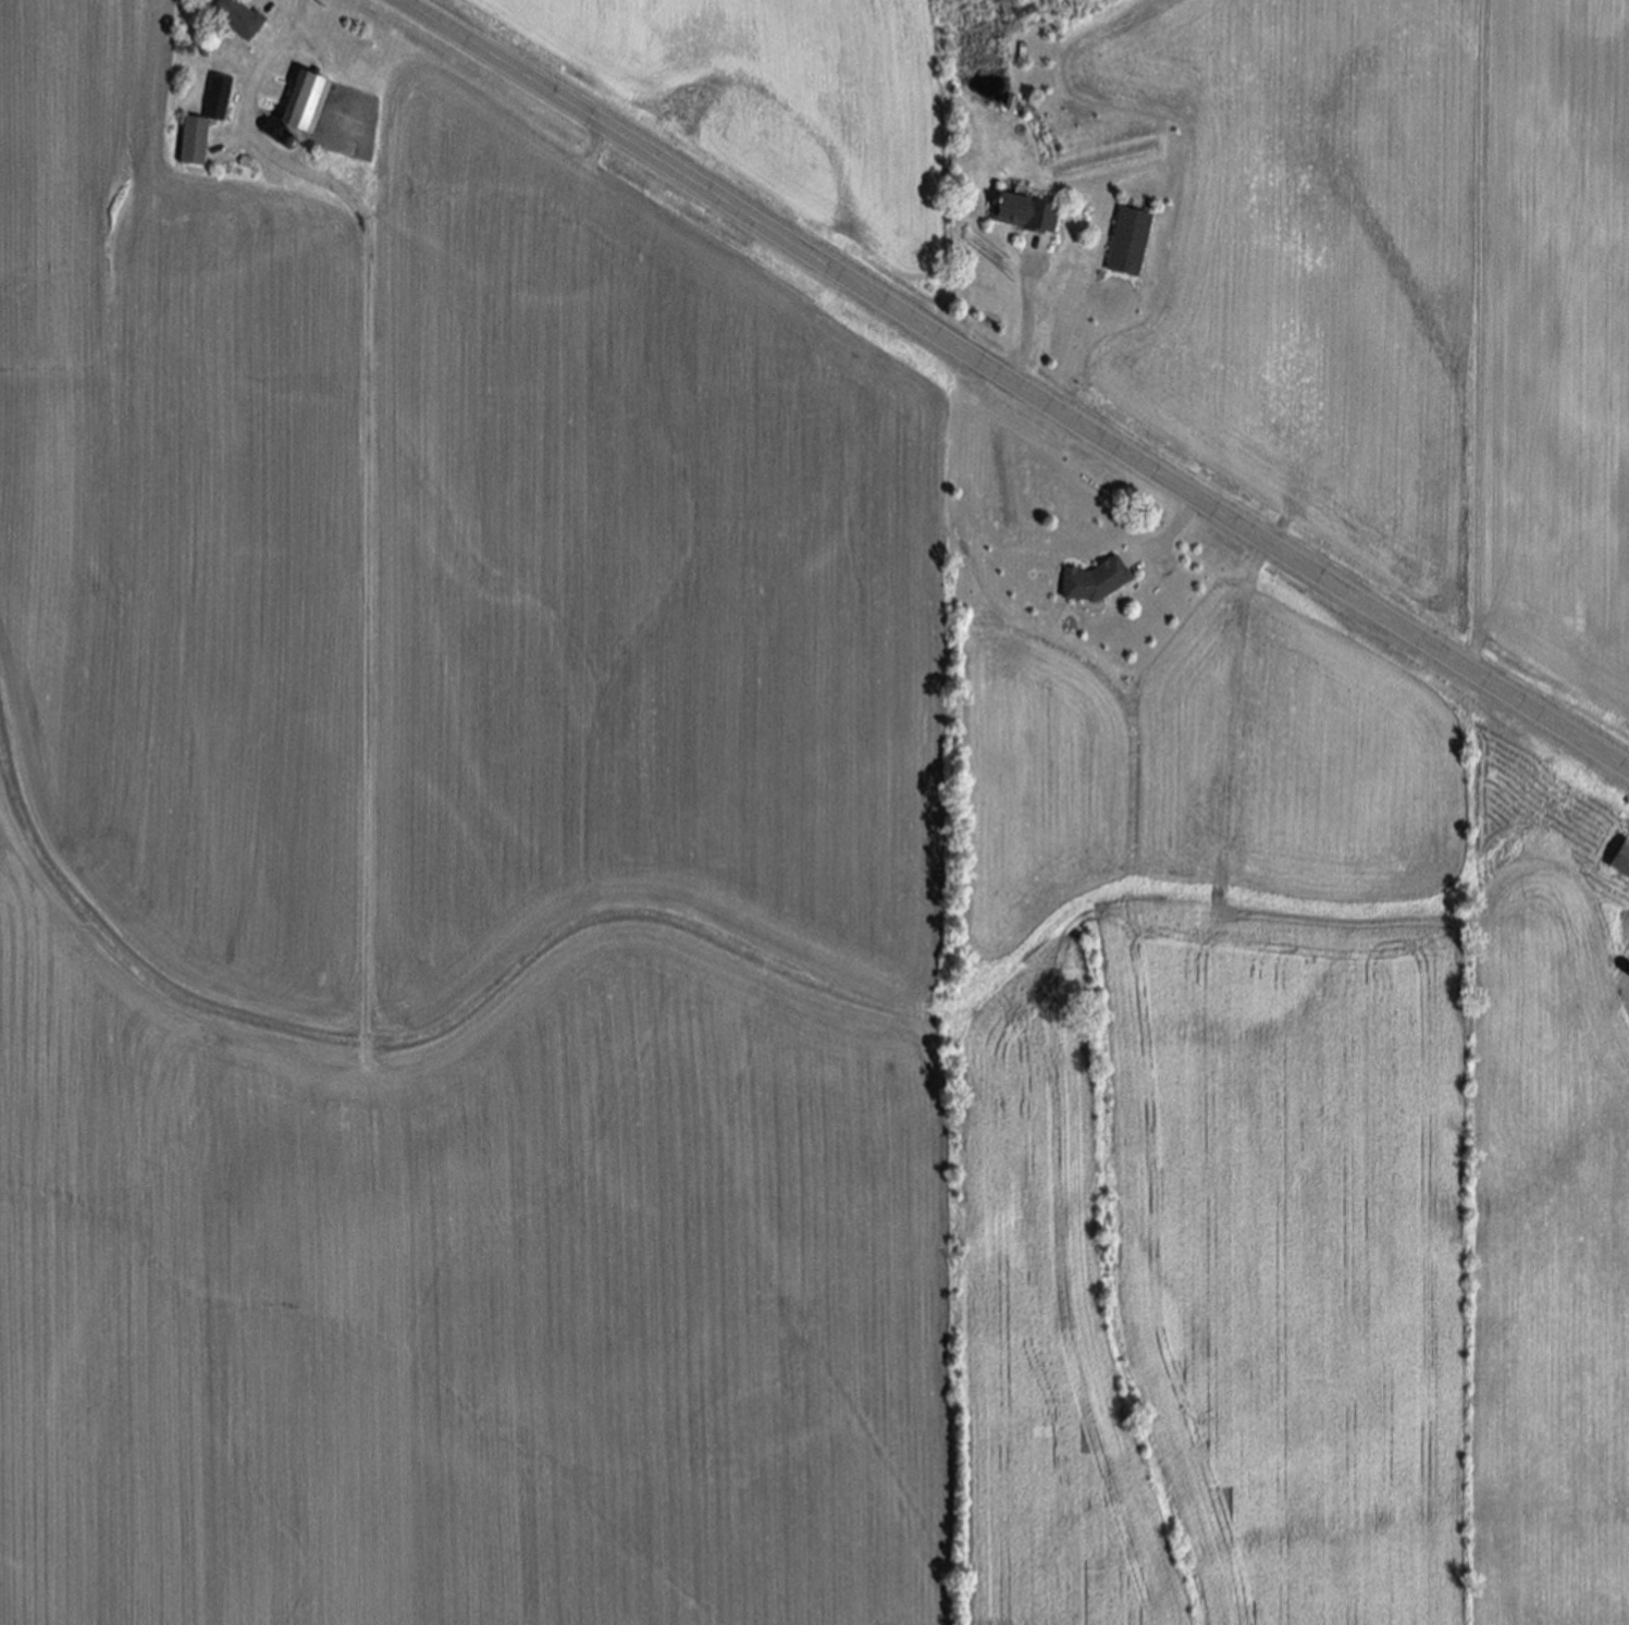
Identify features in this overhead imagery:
building: (239, 19)
building: (307, 103)
road: (248, 108)
building: (205, 124)
building: (1028, 216)
building: (1130, 244)
road: (1025, 324)
road: (1015, 384)
road: (1176, 526)
building: (1098, 579)
building: (1621, 860)

